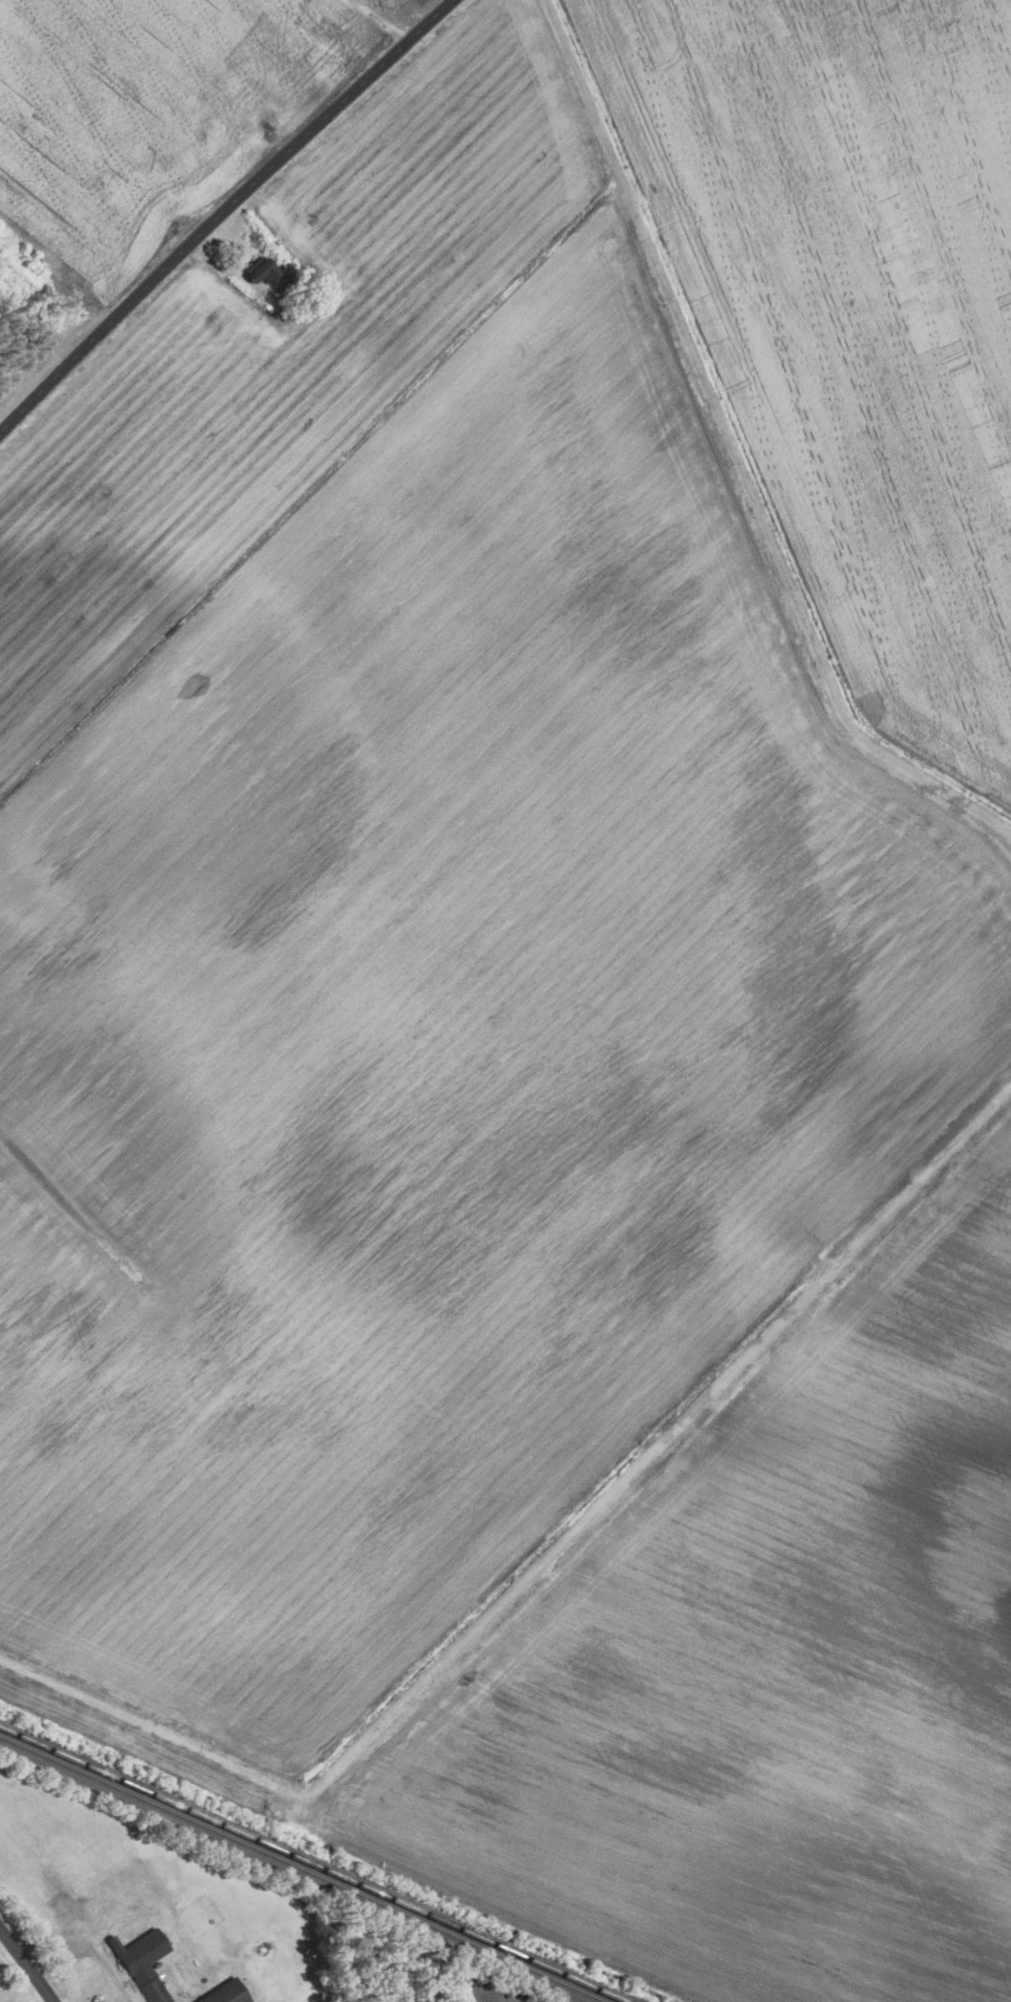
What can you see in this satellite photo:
building: (338, 9)
road: (222, 212)
building: (264, 272)
railway: (313, 1864)
railway: (302, 1869)
building: (147, 1964)
road: (27, 1965)
building: (228, 1994)

